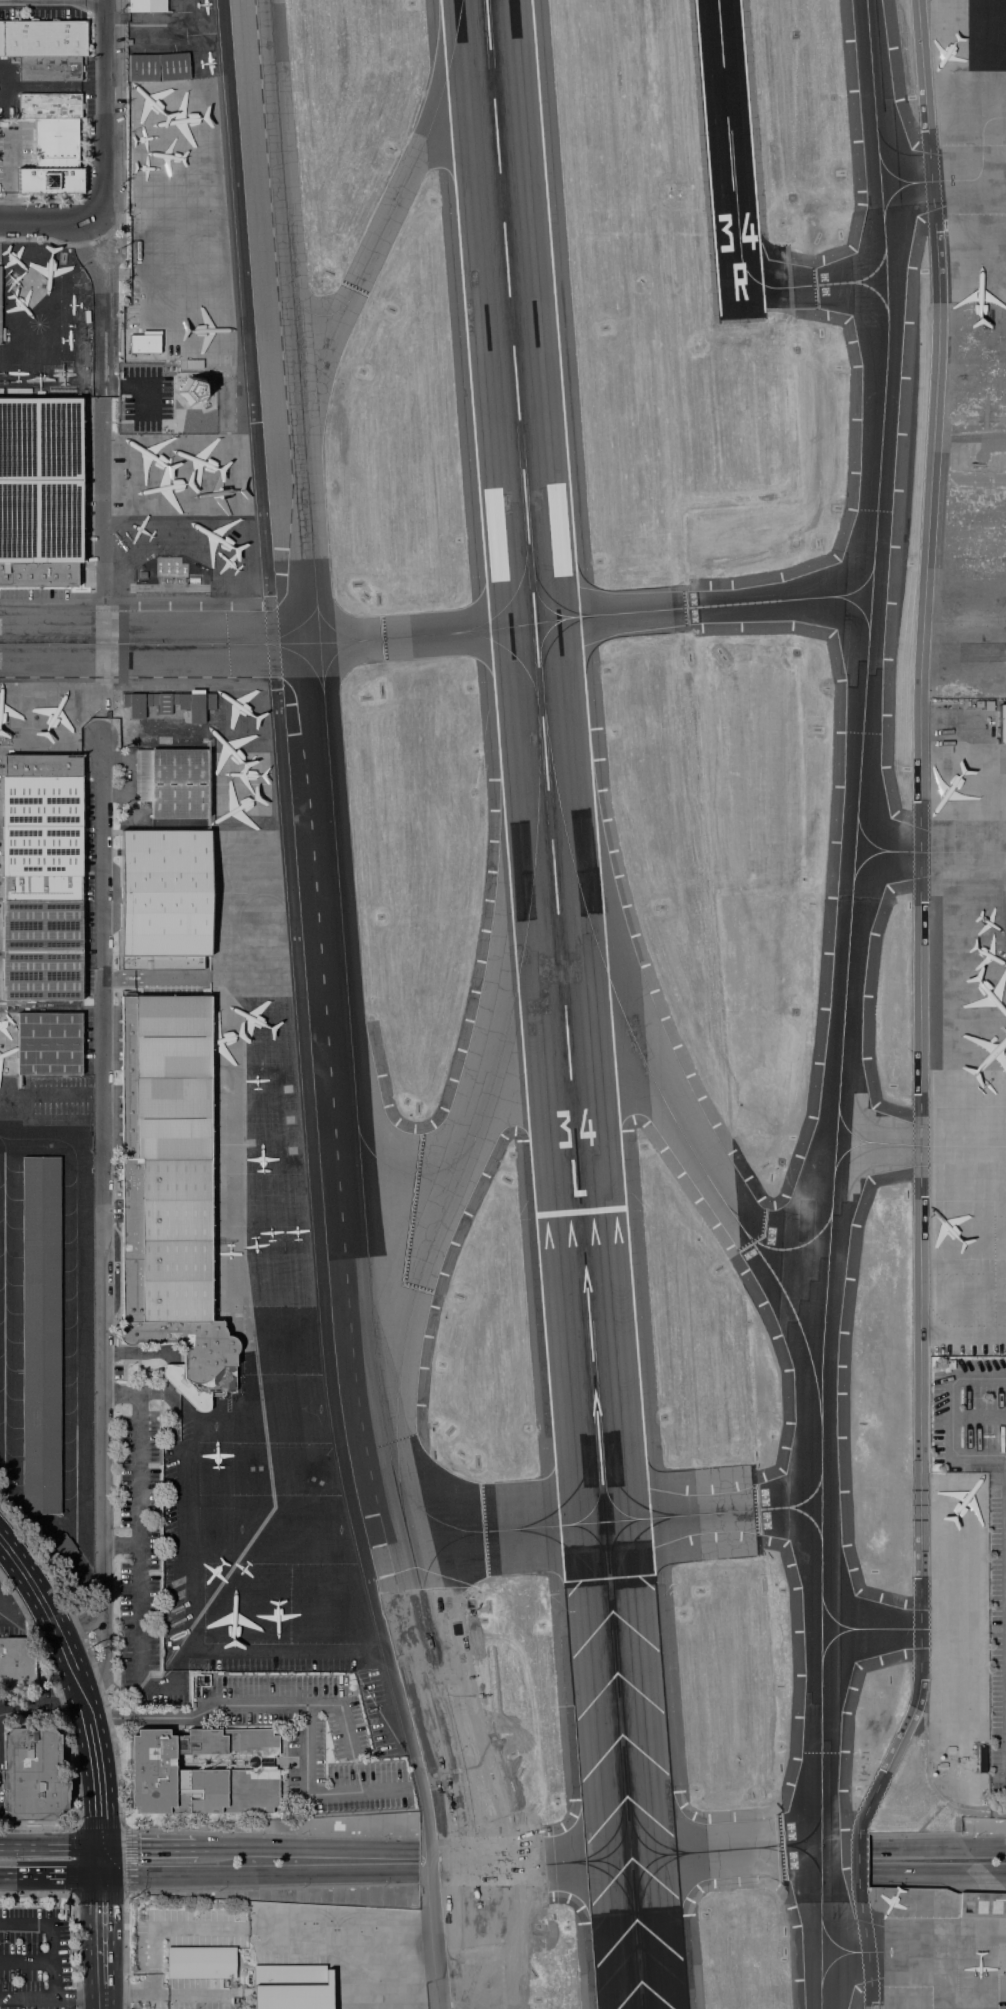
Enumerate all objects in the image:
road: (52, 1)
building: (147, 6)
building: (43, 37)
building: (173, 66)
building: (142, 67)
building: (49, 69)
road: (52, 87)
building: (50, 106)
road: (104, 111)
airport runway: (731, 158)
building: (53, 160)
road: (7, 174)
airport taxiway: (907, 182)
road: (86, 189)
road: (45, 223)
airport taxiway: (379, 234)
road: (58, 242)
airport taxiway: (866, 261)
airport taxiway: (814, 283)
building: (0, 286)
airport taxiway: (314, 315)
building: (1, 335)
building: (145, 342)
building: (193, 363)
building: (193, 390)
building: (40, 491)
building: (141, 575)
airport taxiway: (543, 590)
airport taxiway: (513, 595)
airport taxiway: (715, 605)
airport taxiway: (855, 613)
airport taxiway: (291, 627)
airport taxiway: (332, 627)
airport taxiway: (426, 634)
airport taxiway: (159, 643)
airport taxiway: (546, 650)
airport taxiway: (511, 653)
airport taxiway: (333, 656)
airport taxiway: (300, 658)
building: (126, 700)
building: (164, 702)
building: (979, 704)
building: (139, 705)
building: (196, 705)
building: (988, 706)
airport hangar: (1002, 724)
building: (1002, 724)
building: (173, 782)
airport taxiway: (914, 853)
airport taxiway: (868, 871)
building: (41, 877)
building: (165, 899)
airport: (525, 964)
airport taxiway: (845, 1003)
airport runway: (563, 1004)
road: (300, 1009)
airport taxiway: (344, 1009)
road: (921, 1010)
building: (48, 1044)
airport taxiway: (661, 1097)
airport taxiway: (878, 1144)
airport taxiway: (468, 1152)
airport taxiway: (412, 1175)
building: (169, 1192)
road: (100, 1218)
airport taxiway: (789, 1224)
building: (41, 1334)
road: (141, 1351)
road: (171, 1375)
road: (170, 1387)
road: (135, 1391)
road: (174, 1395)
road: (980, 1412)
road: (954, 1415)
airport taxiway: (578, 1483)
airport taxiway: (618, 1490)
airport taxiway: (834, 1492)
airport taxiway: (875, 1506)
airport taxiway: (778, 1509)
airport taxiway: (421, 1513)
airport taxiway: (712, 1515)
airport taxiway: (834, 1521)
airport taxiway: (491, 1532)
road: (120, 1543)
building: (64, 1549)
airport taxiway: (625, 1550)
road: (18, 1563)
road: (138, 1565)
airport taxiway: (585, 1571)
road: (6, 1594)
road: (24, 1595)
road: (6, 1602)
road: (58, 1634)
parking lot: (997, 1639)
road: (89, 1657)
building: (16, 1662)
road: (79, 1689)
road: (239, 1698)
road: (40, 1702)
road: (85, 1707)
road: (93, 1749)
building: (204, 1773)
building: (32, 1775)
road: (306, 1794)
road: (98, 1812)
airport taxiway: (635, 1823)
airport taxiway: (618, 1824)
road: (38, 1826)
road: (269, 1832)
road: (937, 1833)
road: (49, 1846)
traffic signals: (99, 1846)
road: (148, 1846)
road: (937, 1847)
road: (307, 1848)
road: (126, 1850)
airport taxiway: (743, 1850)
airport taxiway: (493, 1851)
road: (99, 1860)
airport taxiway: (802, 1865)
airport taxiway: (537, 1866)
road: (937, 1872)
road: (50, 1874)
traffic signals: (100, 1874)
road: (258, 1874)
airport taxiway: (646, 1882)
airport taxiway: (616, 1883)
road: (937, 1884)
road: (271, 1887)
road: (37, 1894)
building: (982, 1905)
airport taxiway: (848, 1933)
road: (51, 1938)
road: (100, 1941)
road: (965, 1950)
airport taxiway: (852, 1953)
parking lot: (33, 1957)
building: (201, 1962)
airport taxiway: (846, 1973)
building: (292, 1987)
building: (1002, 1988)
road: (50, 2000)

